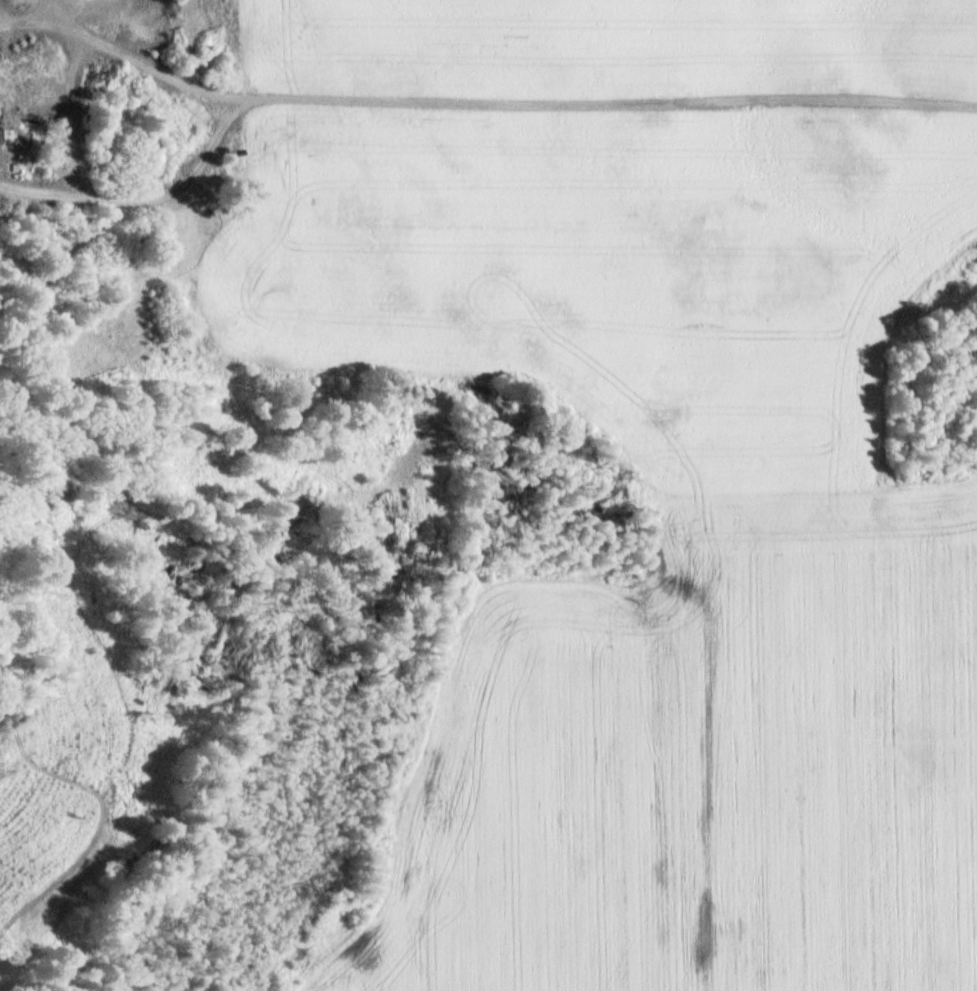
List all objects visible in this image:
quarry: (113, 104)

